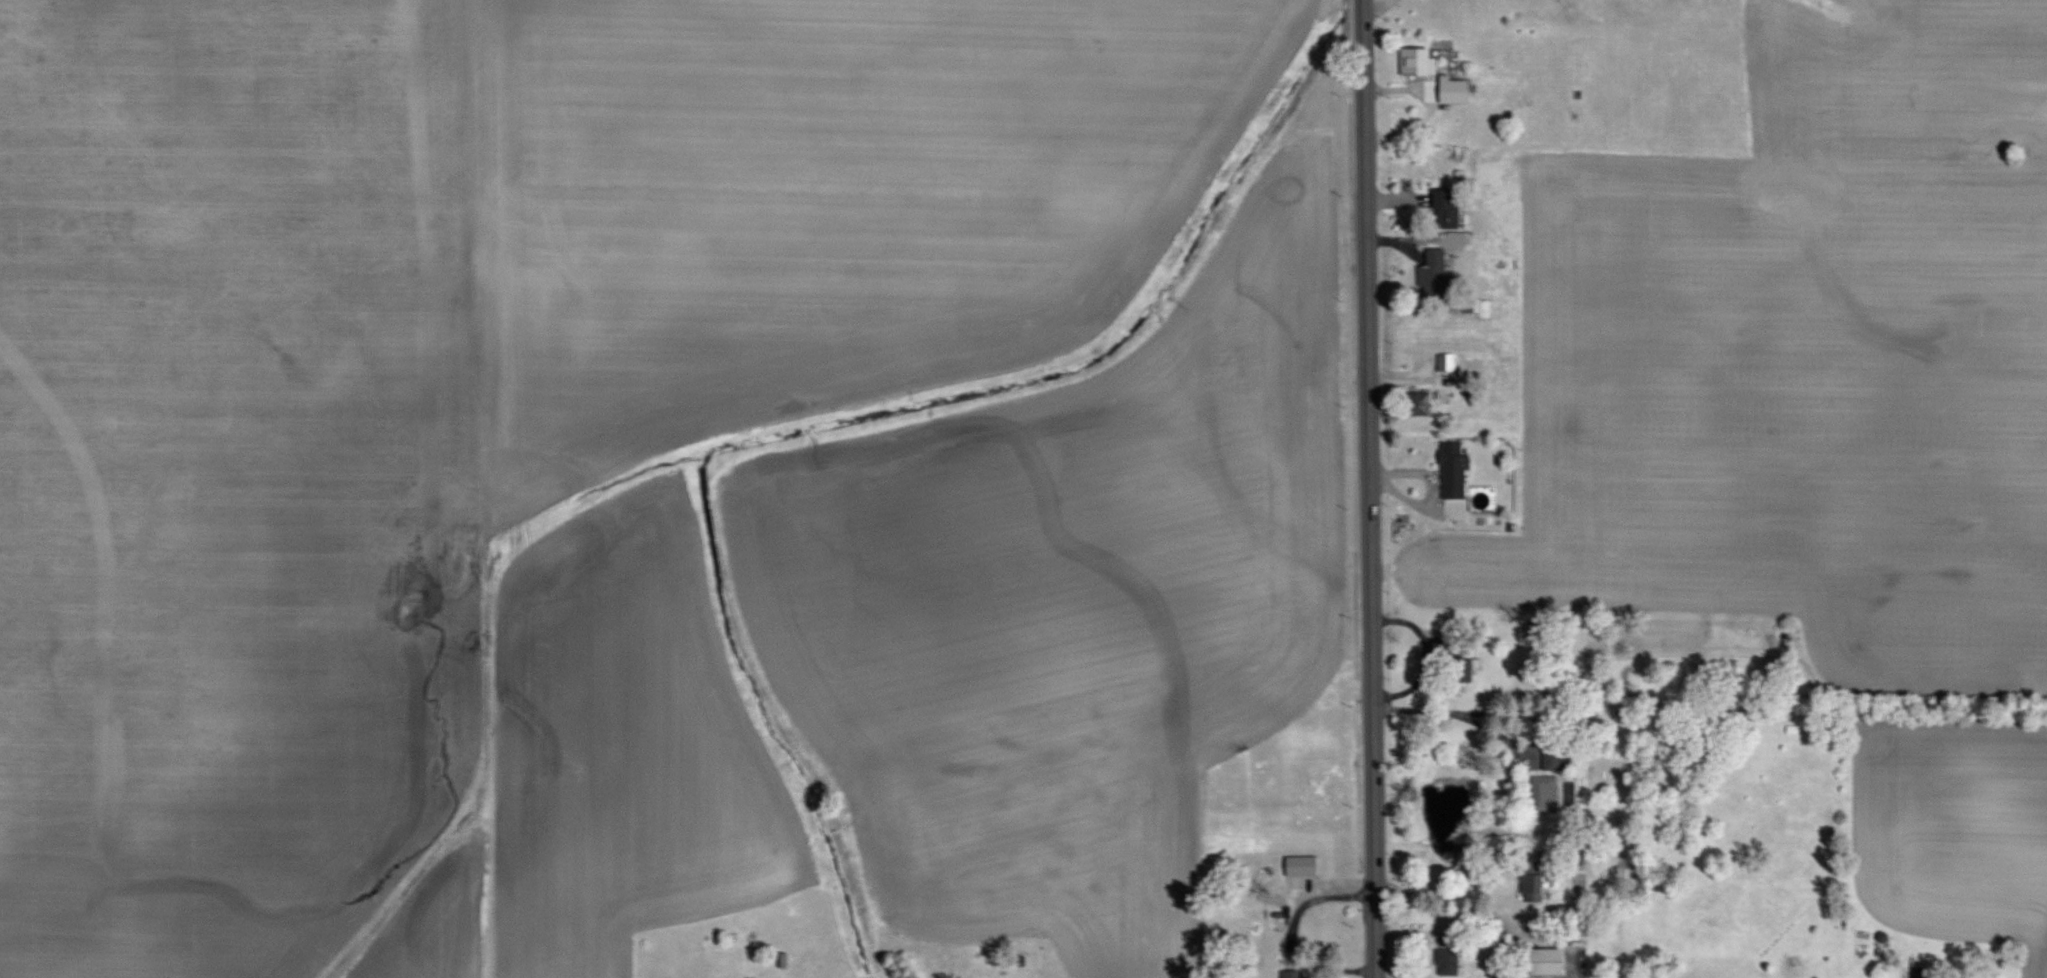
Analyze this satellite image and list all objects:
building: (1421, 60)
building: (1450, 208)
building: (1448, 362)
building: (1457, 470)
road: (1368, 488)
road: (1457, 712)
building: (1306, 872)
building: (1536, 887)
road: (1450, 891)
road: (1424, 930)
building: (1542, 961)
building: (1451, 962)
building: (1300, 975)

